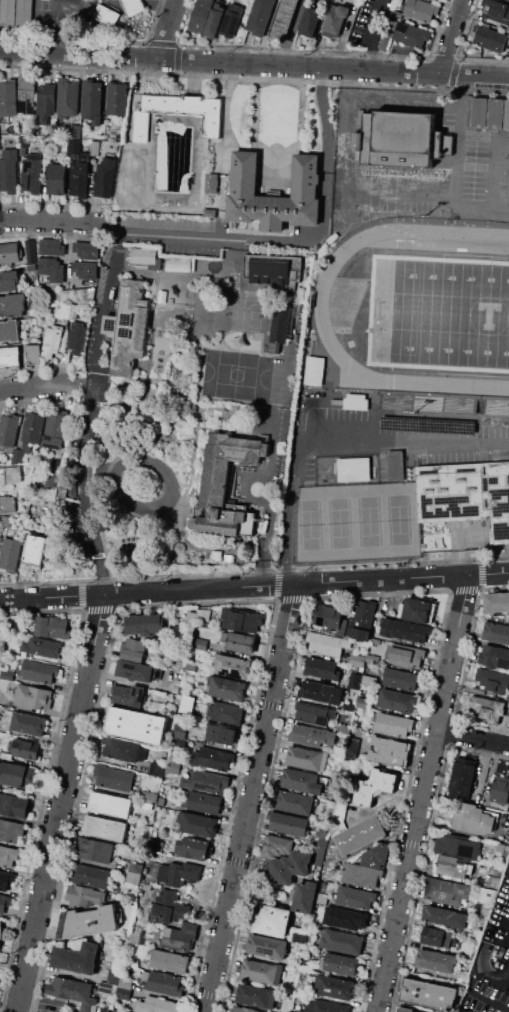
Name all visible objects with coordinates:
building: (133, 6)
building: (344, 10)
building: (421, 10)
building: (497, 11)
building: (8, 13)
building: (24, 13)
building: (396, 14)
building: (199, 15)
building: (105, 16)
building: (259, 17)
building: (214, 20)
building: (231, 20)
building: (284, 20)
building: (311, 21)
building: (333, 24)
road: (169, 29)
road: (290, 32)
road: (374, 34)
building: (412, 34)
road: (452, 36)
building: (490, 37)
road: (254, 63)
building: (68, 96)
building: (8, 97)
building: (116, 98)
building: (27, 99)
building: (47, 99)
building: (93, 100)
building: (180, 113)
building: (489, 115)
road: (225, 117)
road: (346, 125)
building: (118, 136)
building: (402, 137)
building: (23, 145)
building: (73, 145)
building: (95, 147)
building: (508, 159)
building: (9, 171)
building: (32, 173)
building: (80, 175)
road: (499, 175)
building: (56, 178)
building: (104, 178)
building: (211, 182)
parking lot: (436, 184)
road: (222, 191)
building: (275, 194)
road: (458, 196)
building: (508, 199)
building: (209, 213)
road: (46, 221)
road: (221, 224)
road: (312, 240)
building: (51, 247)
building: (85, 249)
building: (10, 254)
building: (30, 254)
building: (143, 256)
building: (177, 263)
building: (52, 269)
building: (83, 269)
building: (9, 281)
building: (76, 293)
building: (273, 293)
building: (12, 305)
building: (67, 309)
track: (335, 310)
park: (441, 314)
building: (129, 327)
building: (10, 331)
building: (77, 337)
building: (52, 339)
building: (33, 354)
building: (9, 357)
building: (314, 371)
park: (237, 374)
road: (91, 381)
road: (42, 384)
building: (355, 401)
road: (94, 403)
building: (56, 425)
building: (33, 427)
building: (8, 429)
road: (340, 437)
building: (53, 442)
parking lot: (387, 443)
building: (19, 456)
building: (396, 466)
building: (355, 469)
building: (13, 474)
building: (2, 476)
building: (53, 480)
building: (215, 482)
building: (72, 492)
building: (51, 494)
building: (28, 495)
building: (466, 495)
building: (7, 503)
road: (268, 506)
building: (5, 521)
park: (400, 521)
park: (369, 522)
park: (340, 524)
park: (310, 525)
building: (35, 551)
building: (10, 554)
road: (494, 557)
road: (480, 572)
road: (102, 575)
road: (285, 575)
road: (254, 587)
road: (495, 587)
road: (464, 589)
building: (496, 602)
building: (417, 610)
building: (199, 615)
building: (330, 618)
building: (241, 620)
building: (364, 620)
building: (143, 623)
building: (51, 626)
building: (405, 631)
building: (495, 633)
building: (241, 642)
building: (201, 644)
building: (326, 645)
building: (43, 647)
building: (133, 649)
building: (406, 656)
building: (494, 657)
building: (372, 658)
building: (356, 659)
building: (190, 666)
building: (231, 666)
building: (322, 668)
building: (134, 670)
building: (39, 671)
building: (7, 675)
building: (400, 679)
building: (354, 680)
building: (367, 680)
building: (493, 683)
building: (175, 687)
building: (226, 688)
building: (320, 691)
building: (130, 694)
building: (33, 697)
building: (396, 700)
building: (362, 702)
building: (185, 703)
building: (348, 706)
building: (487, 709)
building: (225, 713)
building: (313, 713)
building: (24, 722)
building: (393, 724)
building: (137, 725)
building: (344, 728)
building: (179, 729)
building: (221, 733)
building: (308, 735)
road: (473, 735)
building: (178, 742)
building: (352, 746)
building: (27, 748)
building: (123, 750)
building: (338, 750)
building: (390, 751)
building: (212, 758)
building: (306, 759)
building: (156, 767)
building: (172, 767)
building: (464, 773)
building: (18, 774)
building: (113, 777)
building: (206, 781)
building: (304, 781)
building: (373, 787)
road: (423, 794)
building: (500, 794)
building: (150, 796)
road: (252, 798)
building: (160, 801)
road: (62, 802)
building: (295, 802)
building: (204, 803)
building: (110, 804)
building: (14, 805)
building: (472, 821)
building: (197, 824)
building: (289, 824)
building: (507, 824)
building: (105, 828)
building: (11, 830)
building: (321, 832)
building: (360, 835)
building: (276, 845)
building: (193, 847)
building: (457, 847)
building: (500, 847)
building: (95, 849)
building: (154, 849)
building: (320, 850)
building: (8, 855)
building: (377, 855)
building: (289, 867)
building: (453, 868)
building: (134, 873)
building: (178, 873)
building: (360, 874)
building: (89, 876)
building: (5, 880)
building: (492, 880)
building: (147, 886)
building: (446, 893)
building: (85, 895)
building: (489, 895)
building: (166, 896)
building: (355, 896)
building: (305, 897)
building: (321, 897)
building: (4, 904)
building: (486, 909)
building: (172, 911)
building: (345, 918)
building: (442, 919)
building: (272, 920)
building: (89, 922)
building: (300, 936)
building: (0, 937)
building: (180, 937)
building: (434, 940)
building: (342, 941)
building: (267, 947)
building: (496, 948)
building: (80, 960)
building: (169, 961)
building: (340, 964)
building: (435, 964)
building: (261, 971)
building: (114, 973)
building: (463, 977)
building: (126, 983)
building: (161, 983)
building: (333, 987)
building: (71, 989)
building: (107, 989)
building: (124, 993)
building: (428, 994)
building: (256, 996)
parking lot: (482, 1000)
road: (490, 1000)
building: (157, 1005)
building: (324, 1006)
building: (85, 1007)
building: (244, 1009)
building: (296, 1010)
building: (402, 1010)
building: (117, 1011)

